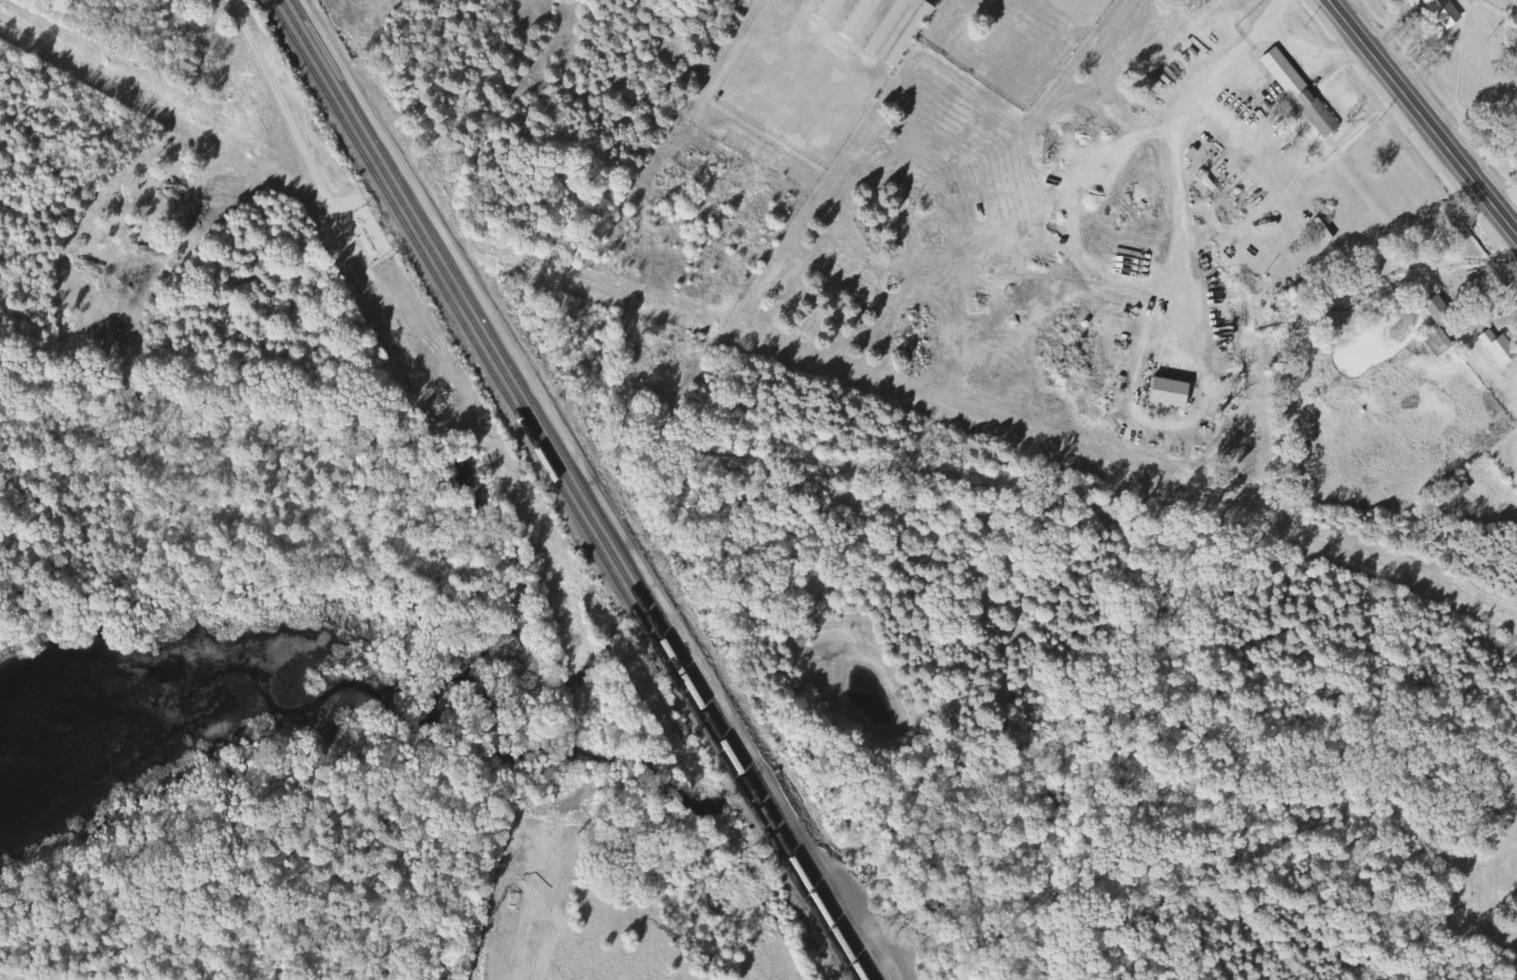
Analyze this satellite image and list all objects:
building: (832, 10)
building: (1443, 12)
building: (862, 18)
building: (889, 26)
building: (912, 35)
building: (1301, 93)
road: (1428, 110)
building: (1440, 311)
building: (1439, 342)
building: (1500, 348)
building: (1172, 392)
railway: (572, 489)
railway: (584, 489)
railway: (561, 490)
building: (1457, 491)

